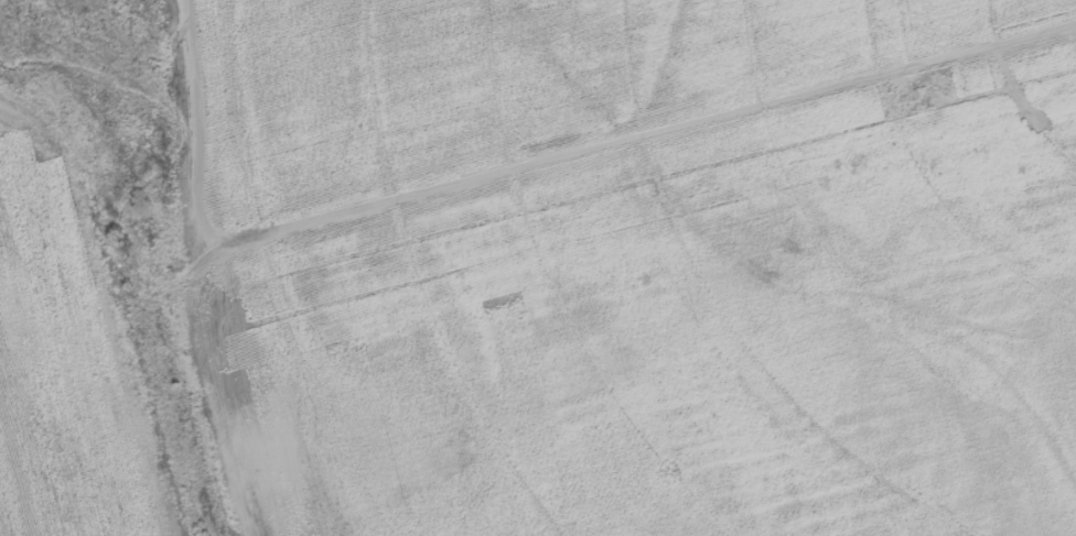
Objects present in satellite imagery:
road: (521, 166)

